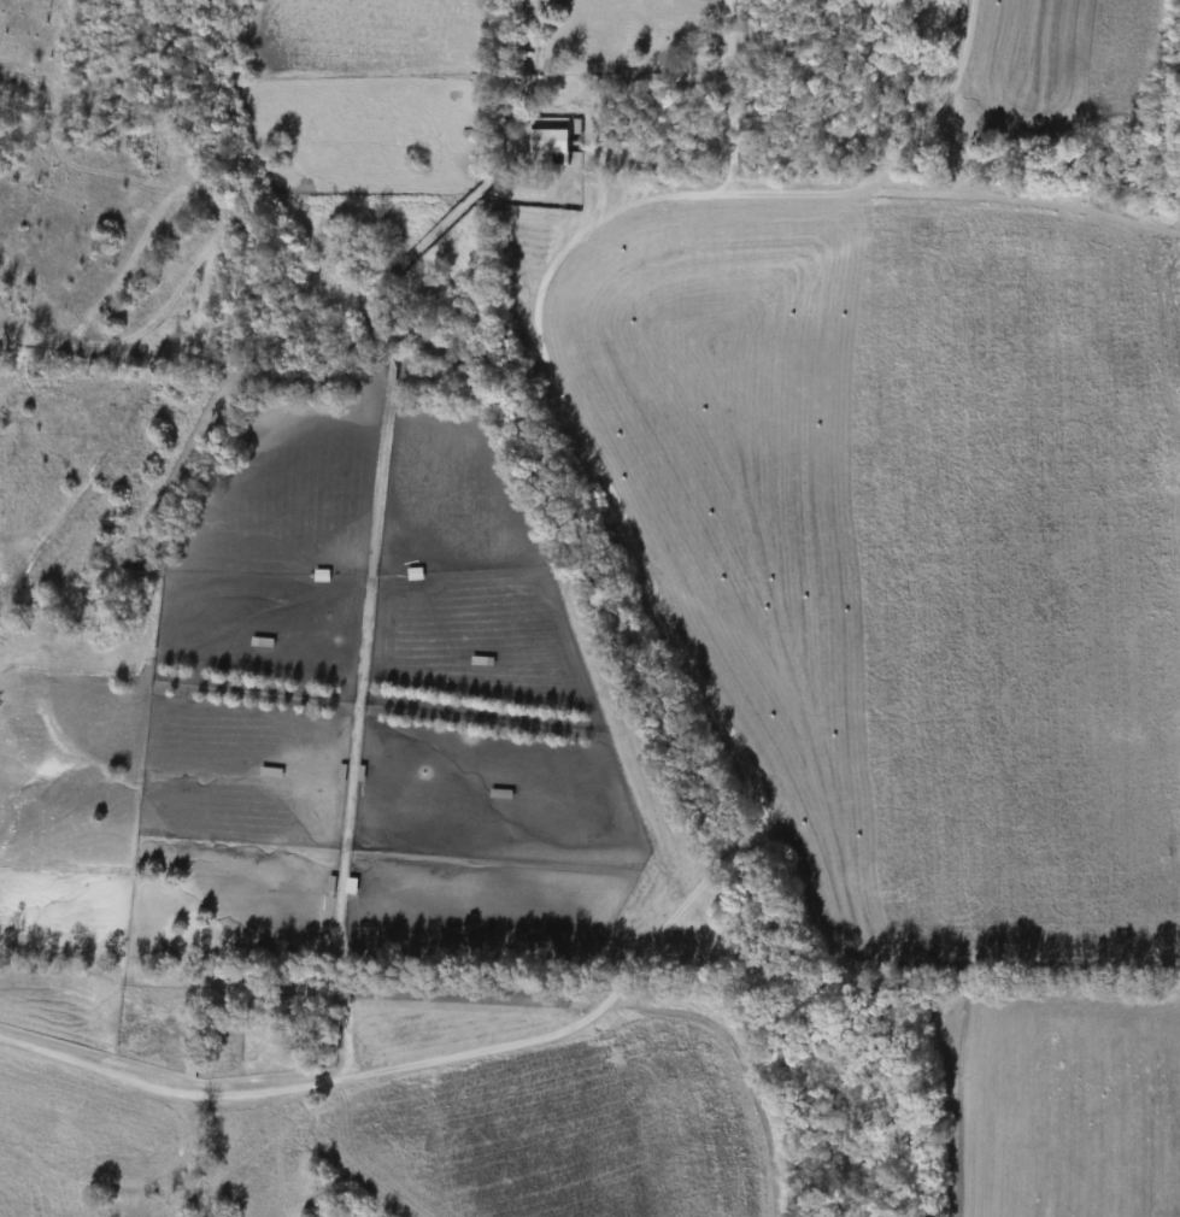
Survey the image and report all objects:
building: (546, 142)
building: (480, 659)
road: (701, 681)

